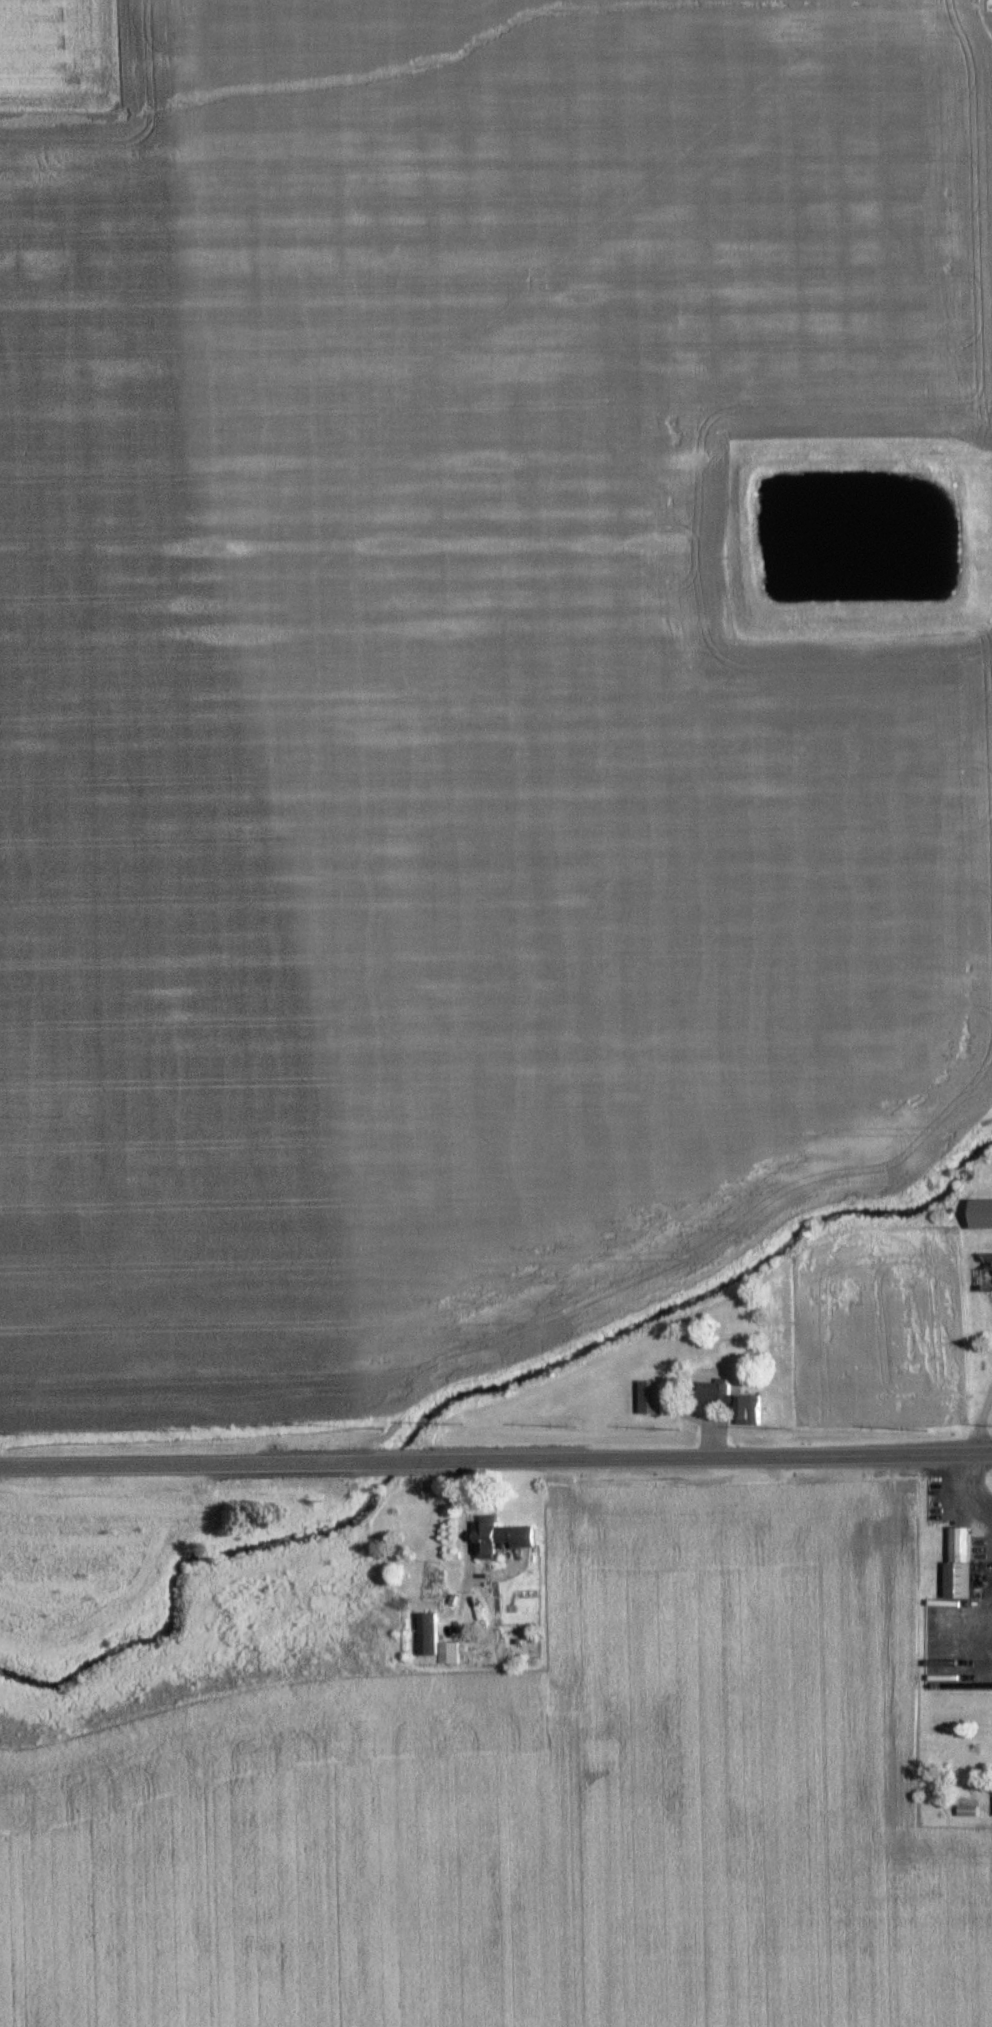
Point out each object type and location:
crop: (459, 670)
building: (980, 1214)
building: (649, 1397)
building: (737, 1403)
road: (707, 1458)
road: (395, 1463)
road: (184, 1466)
building: (501, 1537)
building: (959, 1565)
building: (435, 1641)
crop: (519, 1821)

